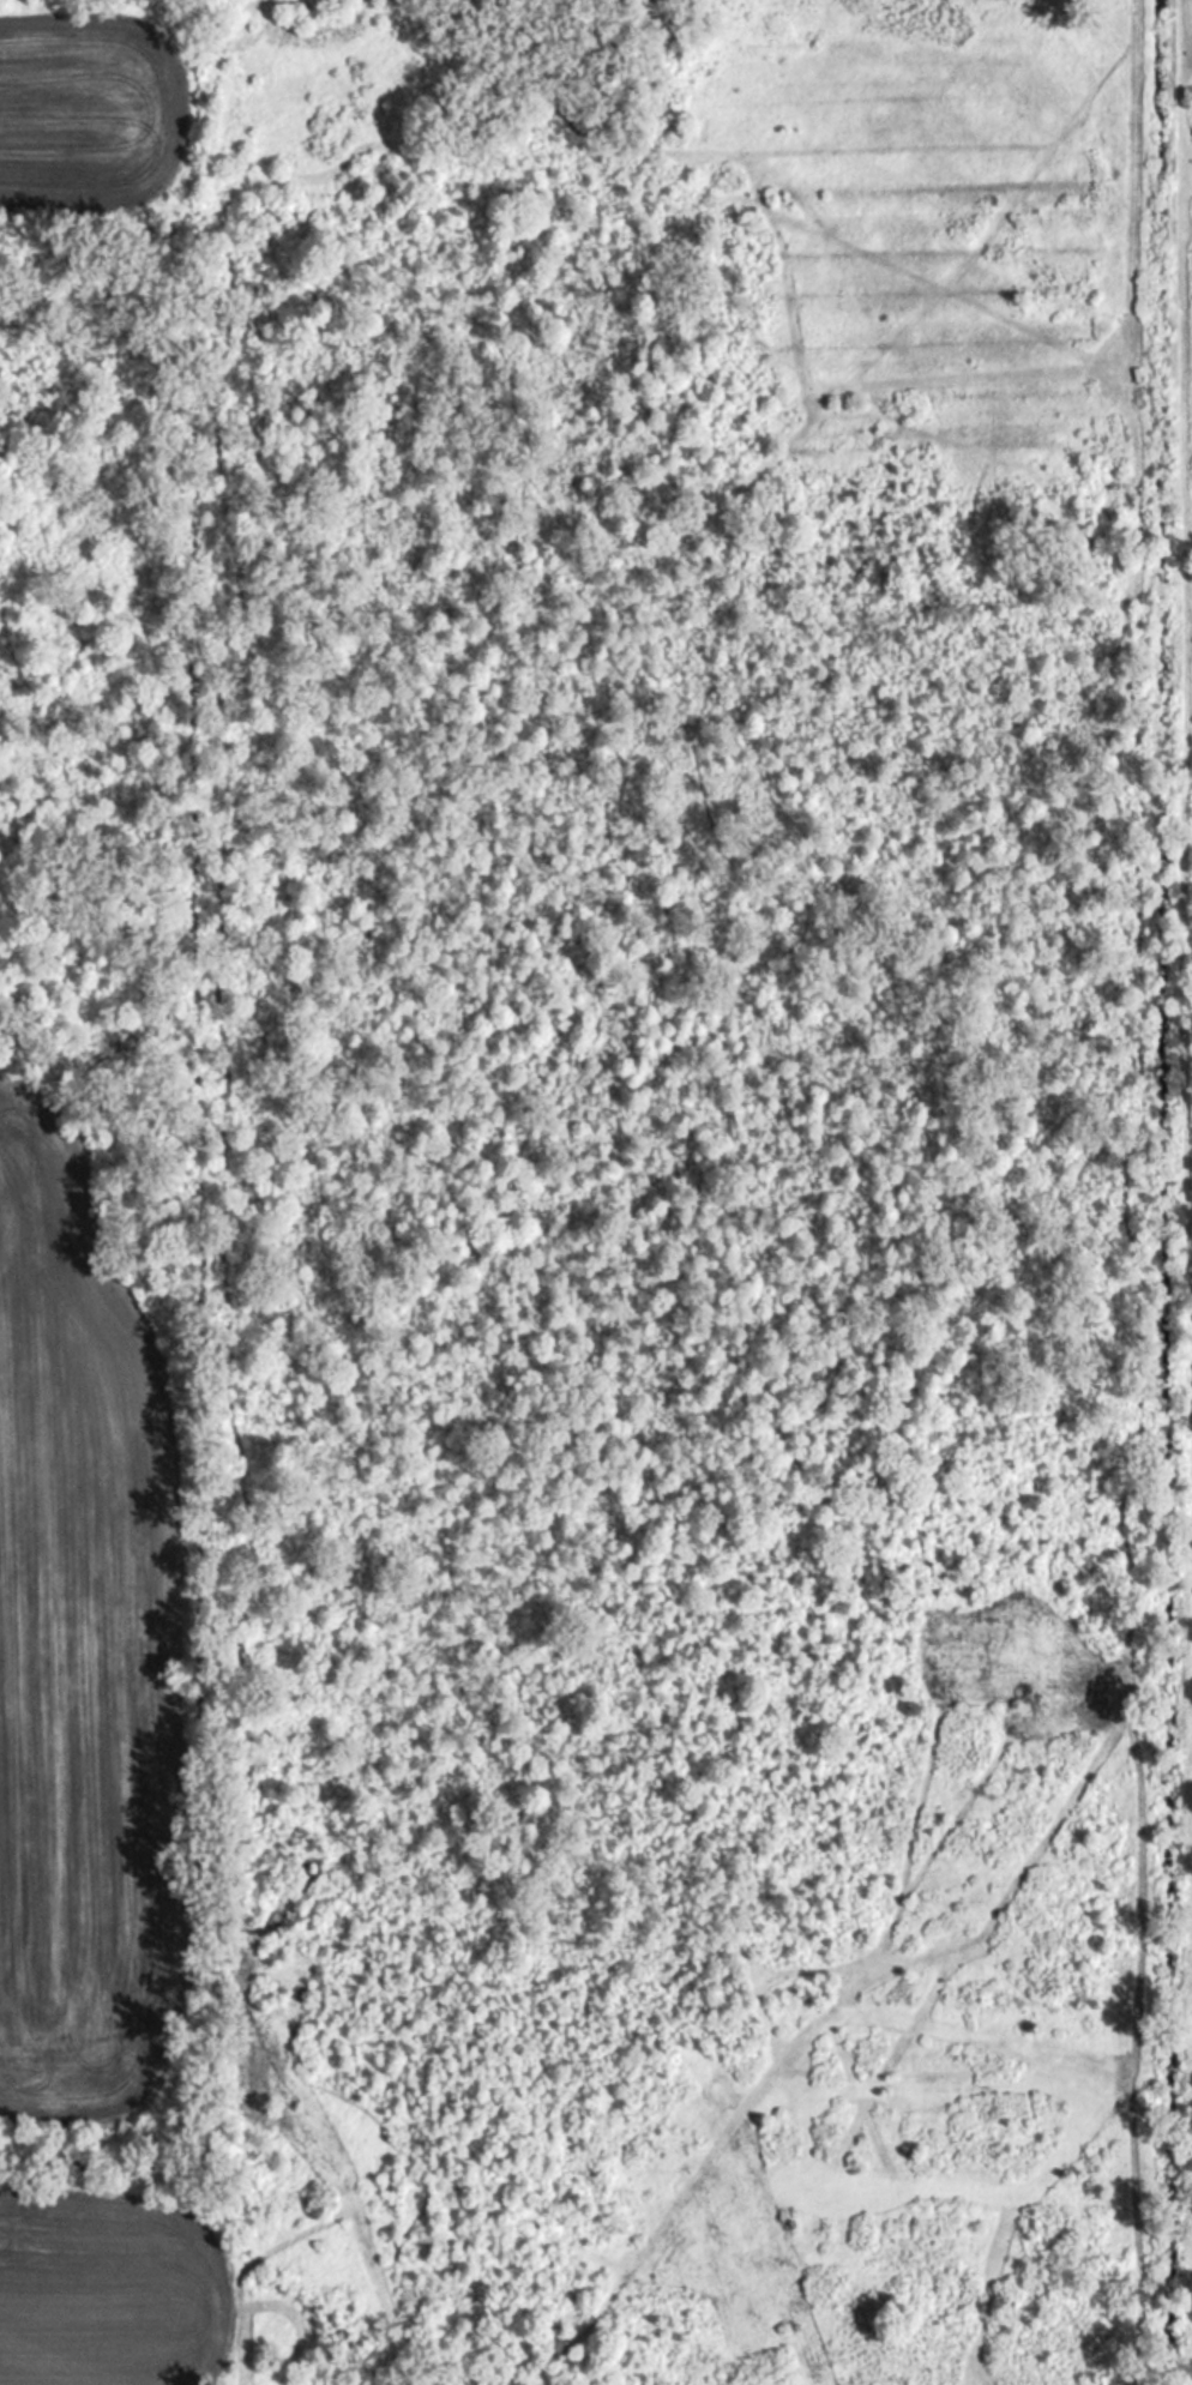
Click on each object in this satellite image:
road: (1174, 29)

